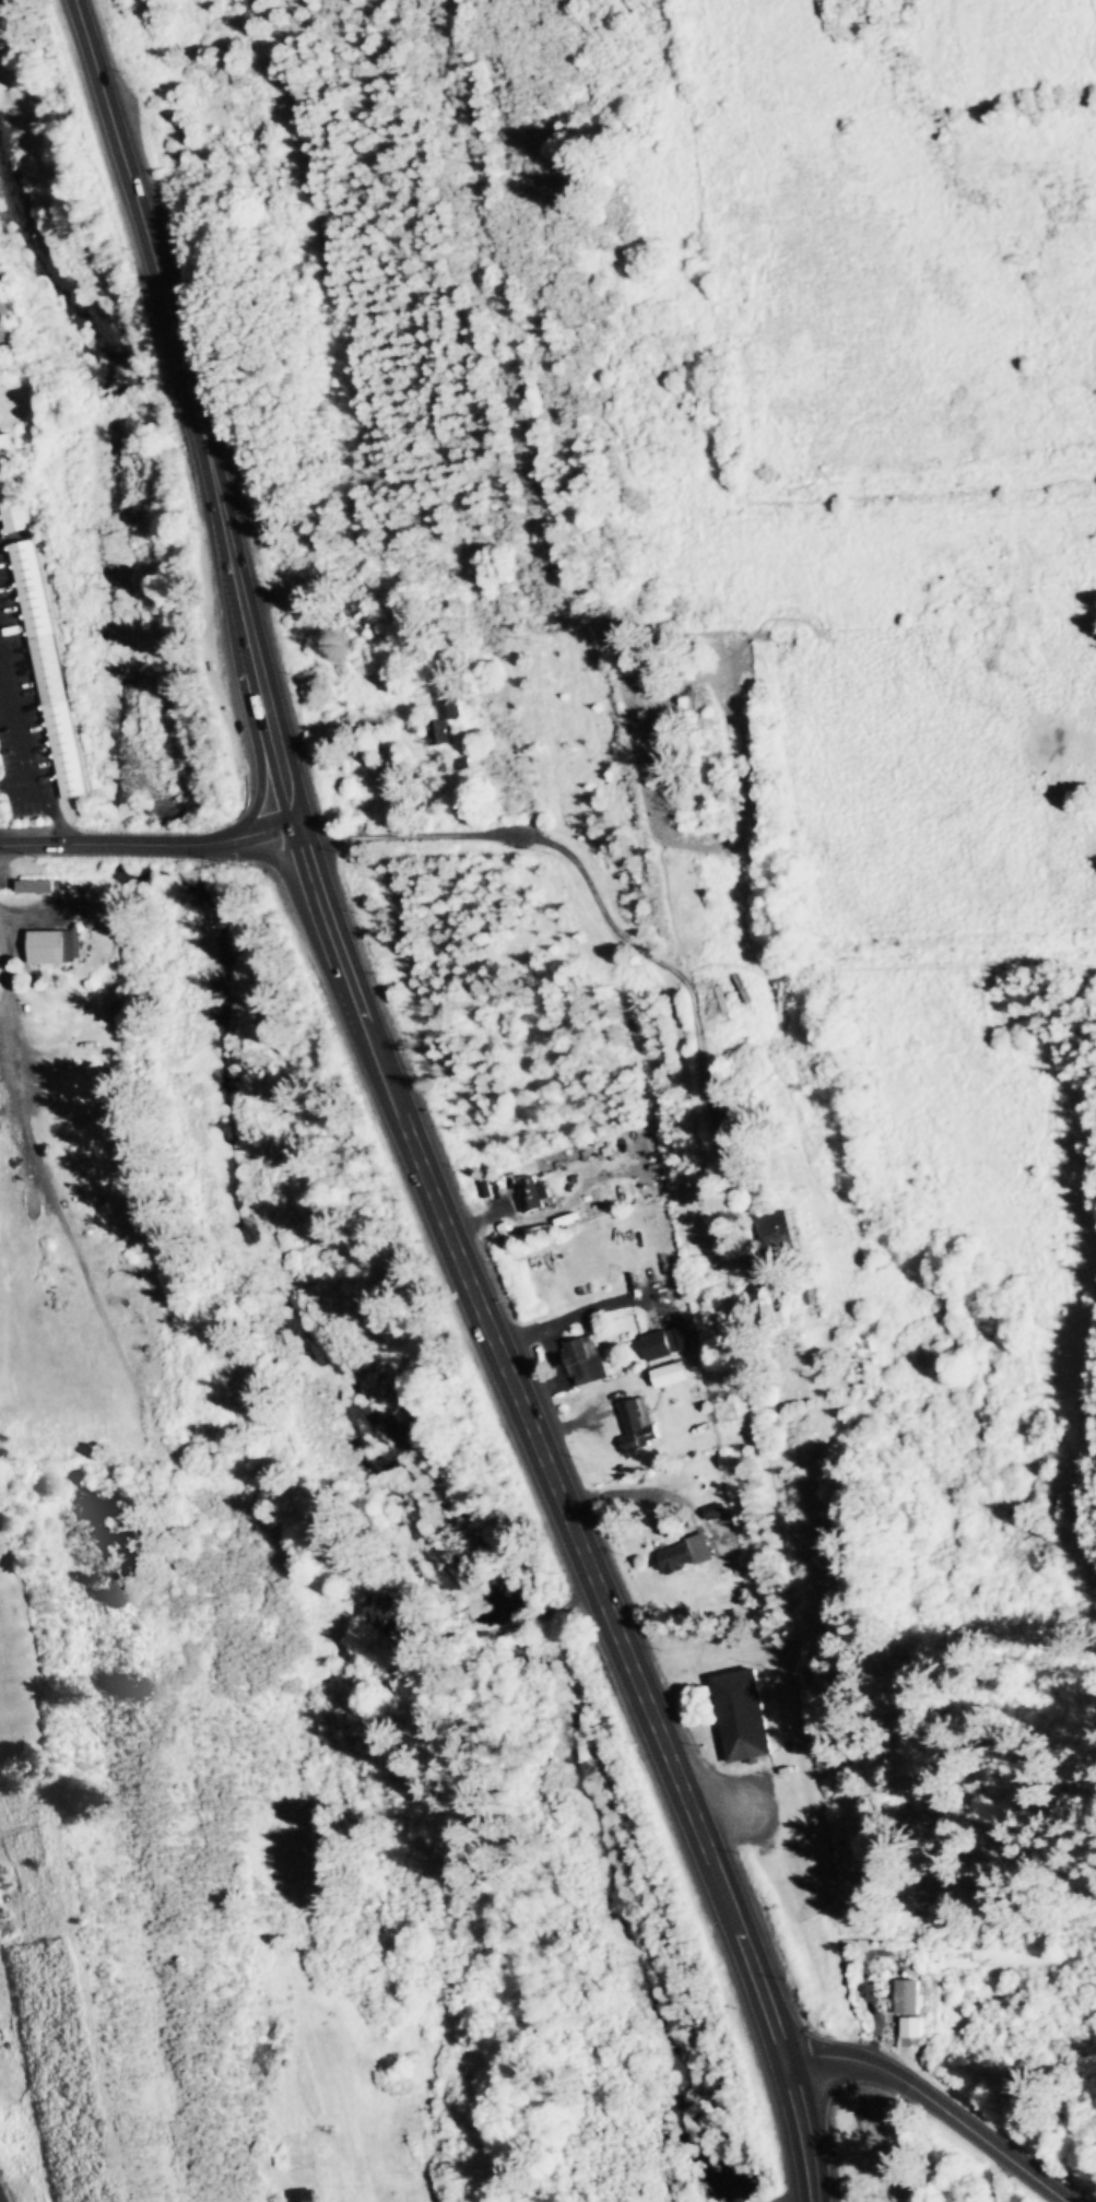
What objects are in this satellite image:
building: (5, 311)
building: (12, 486)
railway: (571, 493)
road: (476, 594)
building: (49, 669)
building: (448, 715)
road: (22, 746)
road: (14, 784)
road: (517, 837)
road: (148, 844)
building: (51, 946)
road: (405, 1115)
road: (702, 1140)
building: (535, 1192)
building: (765, 1306)
road: (590, 1309)
building: (668, 1343)
building: (587, 1359)
building: (671, 1375)
building: (639, 1423)
building: (686, 1554)
building: (381, 1608)
building: (743, 1715)
railway: (806, 1747)
building: (909, 1997)
building: (914, 2030)
road: (939, 2104)
building: (300, 2195)

